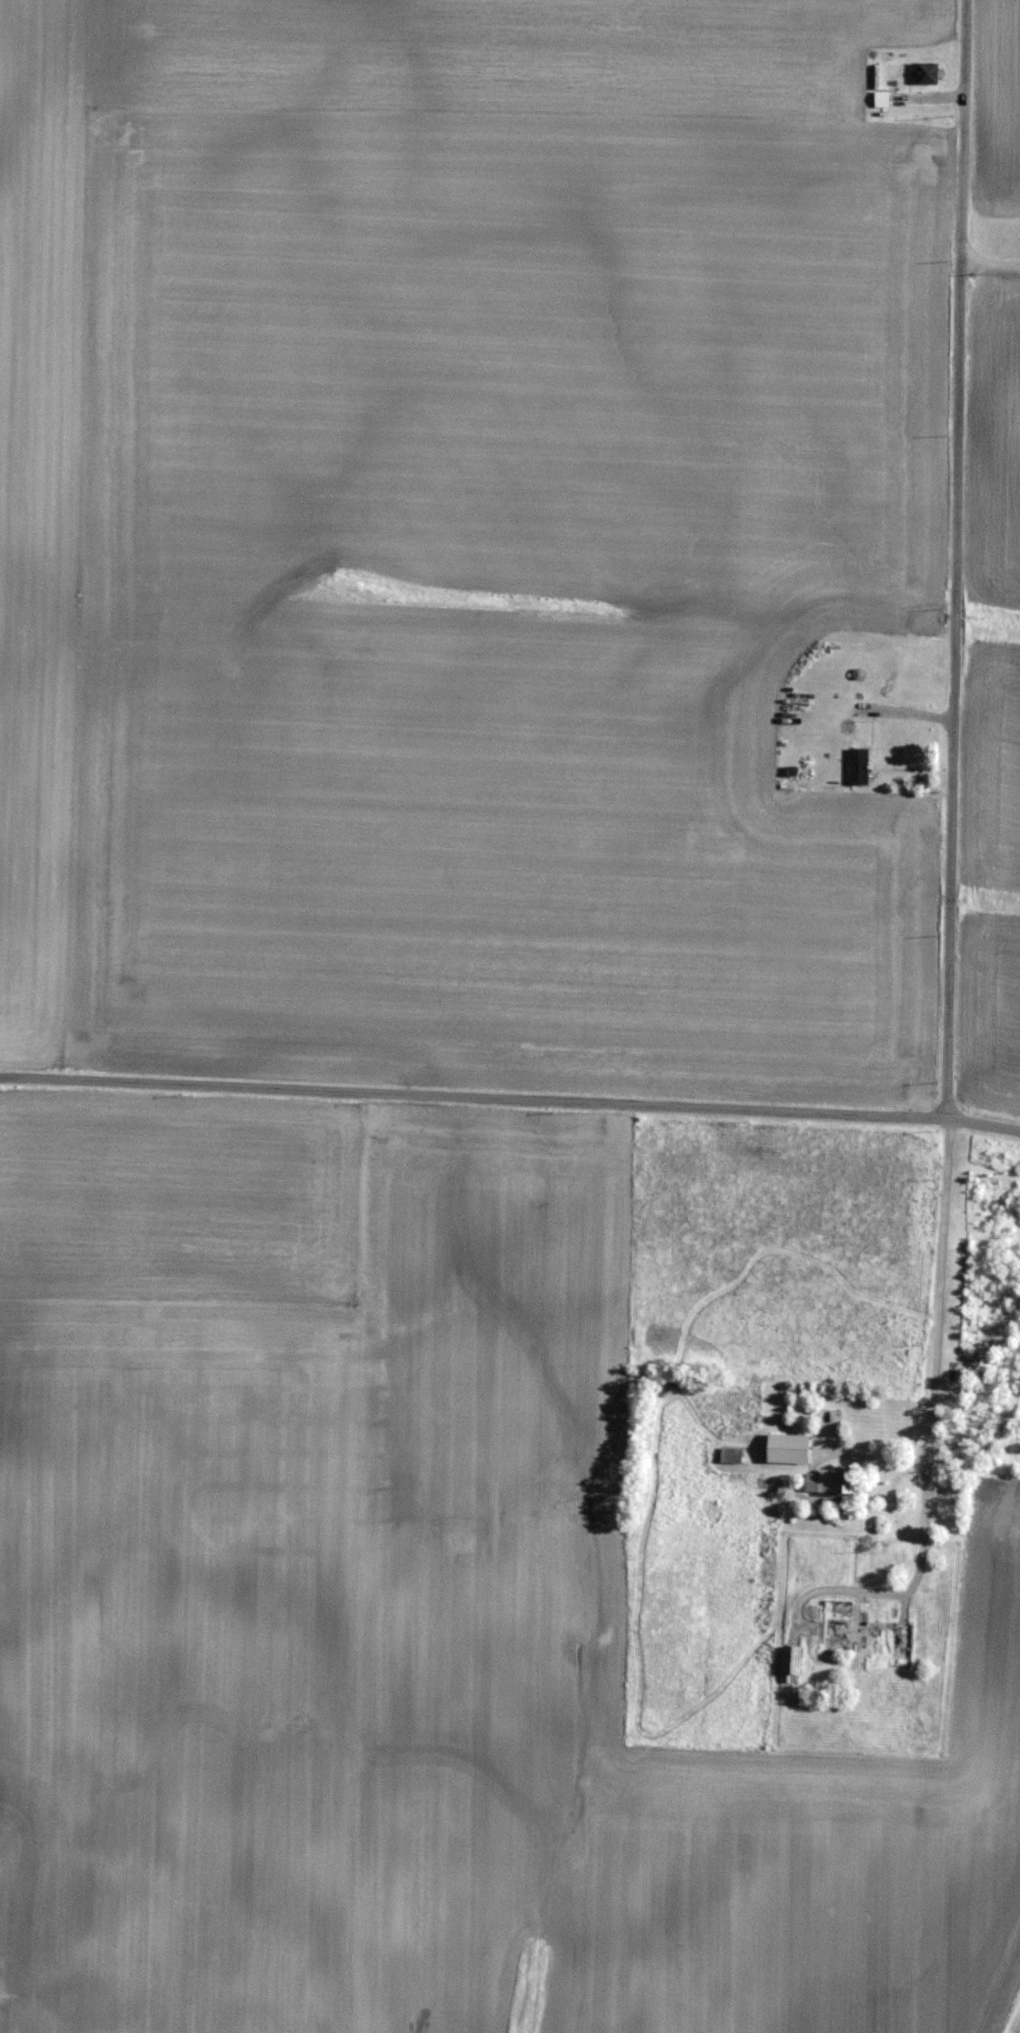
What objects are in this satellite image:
road: (989, 264)
road: (953, 560)
road: (510, 1103)
road: (926, 1431)
road: (878, 1467)

